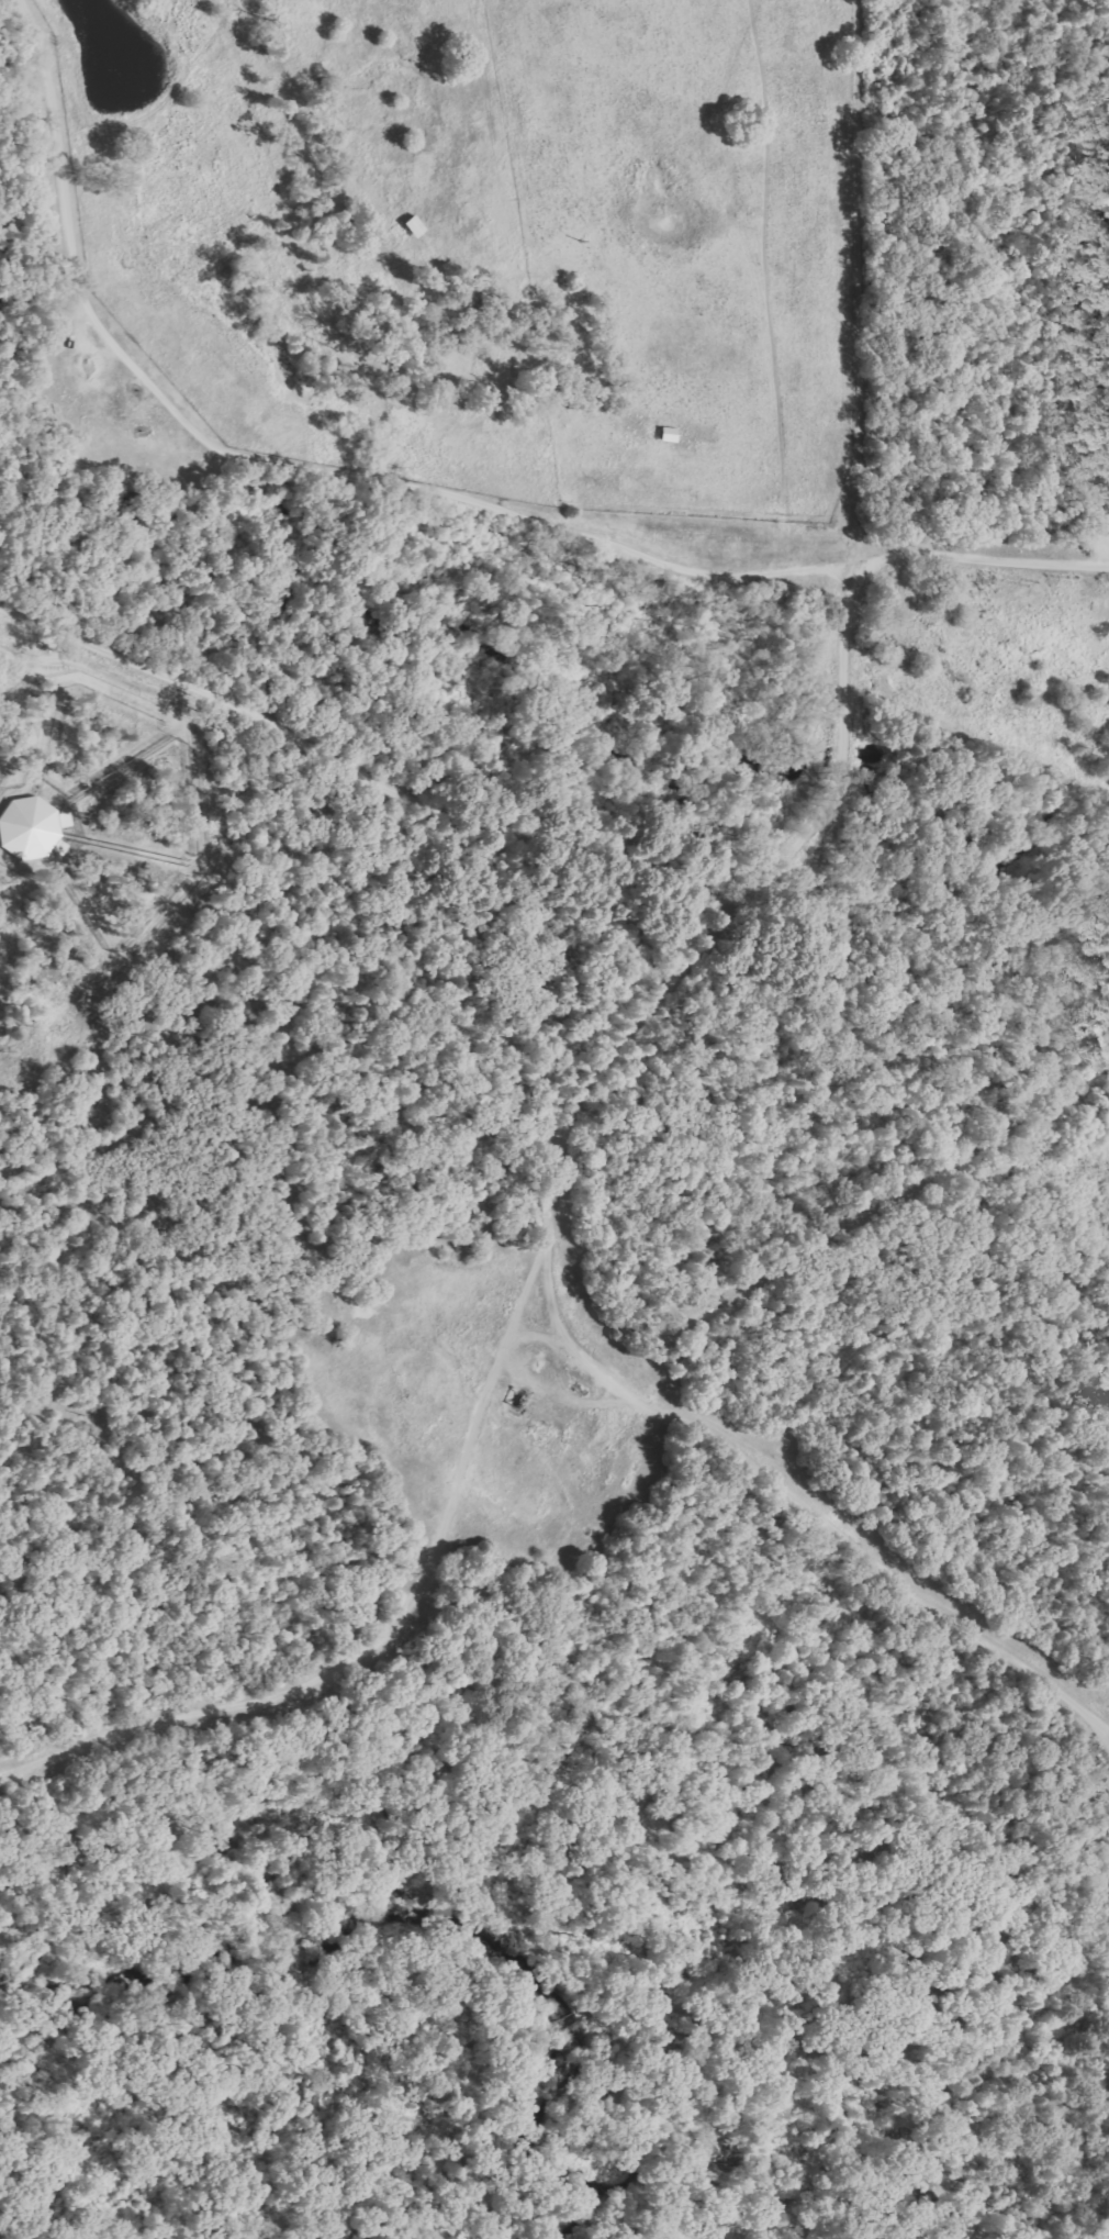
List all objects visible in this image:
building: (411, 227)
building: (665, 435)
road: (407, 492)
building: (29, 829)

